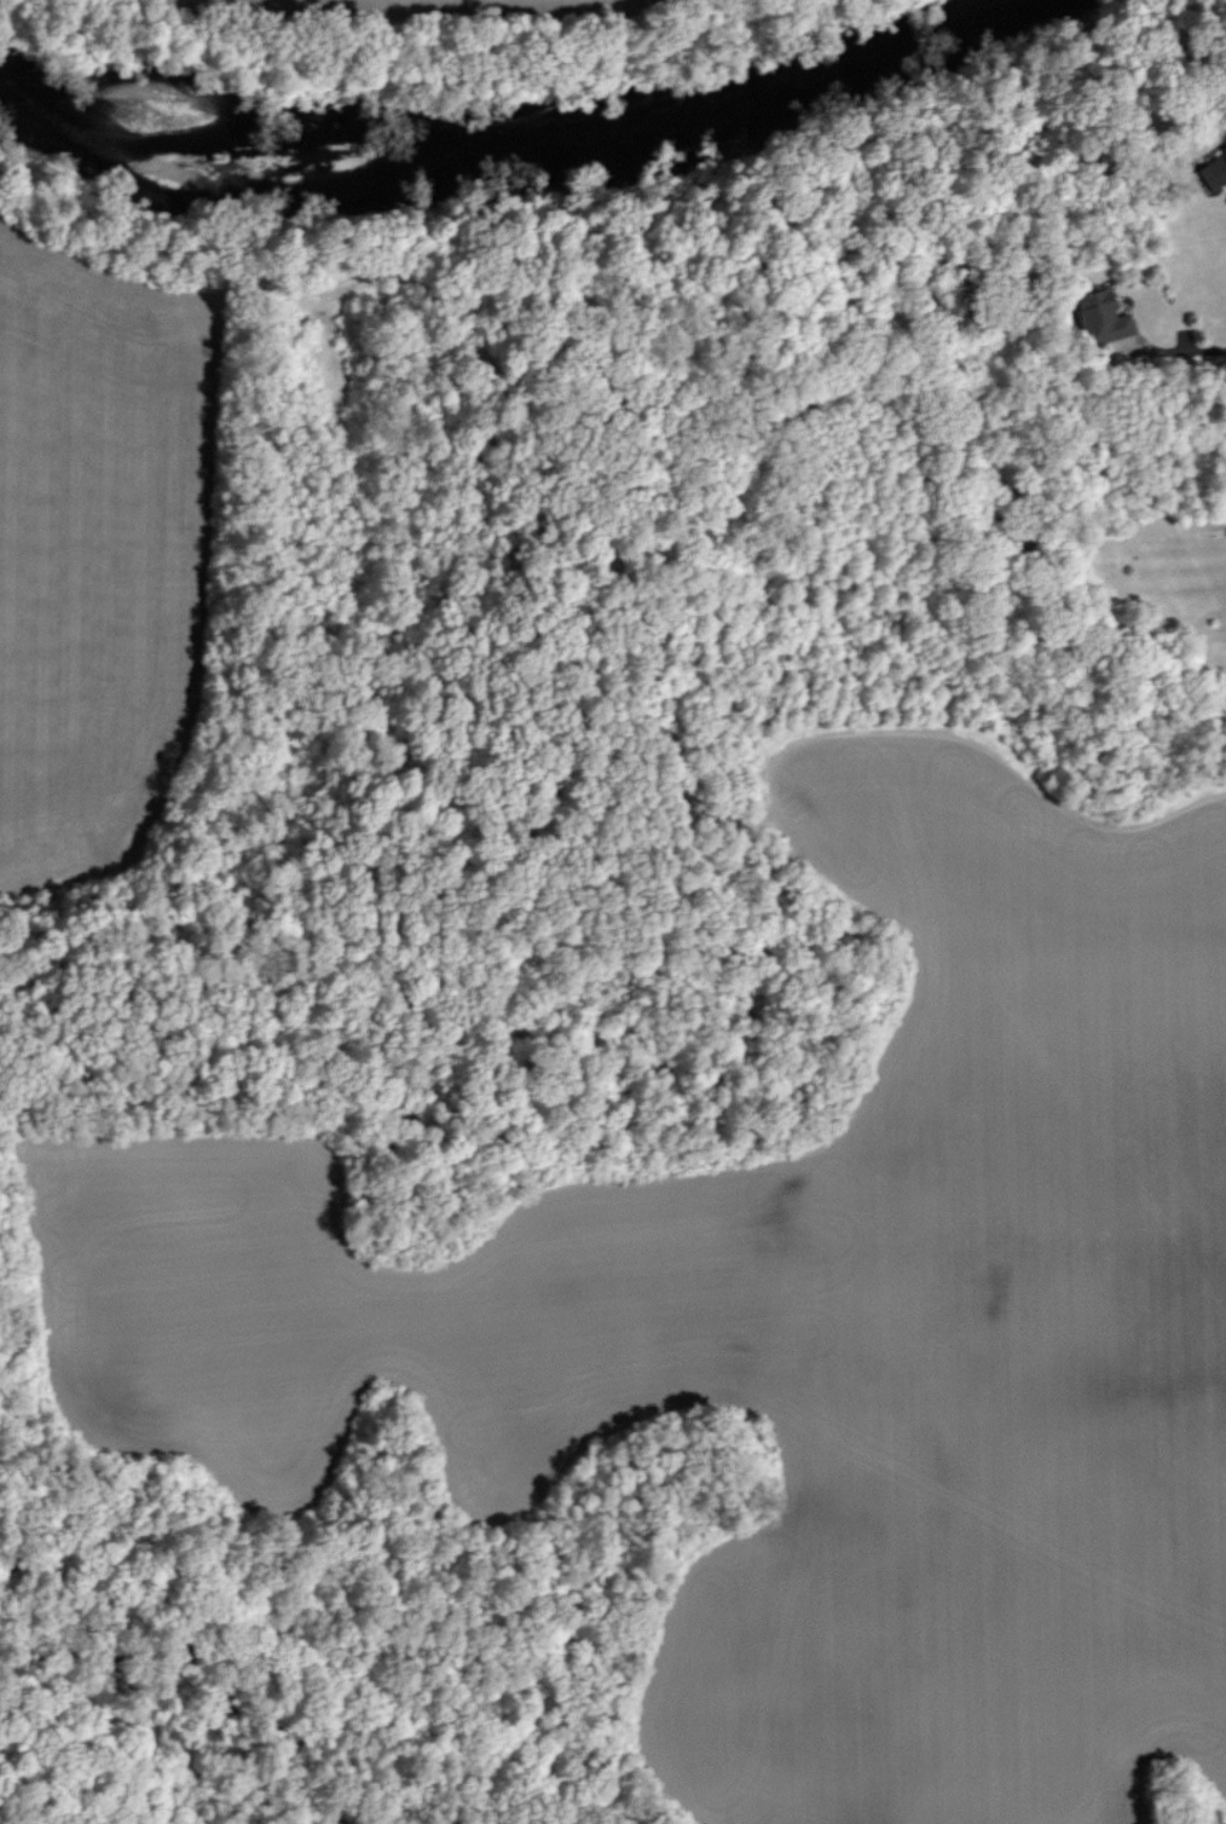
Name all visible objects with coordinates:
river: (538, 149)
building: (1213, 171)
building: (1101, 318)
road: (1198, 353)

